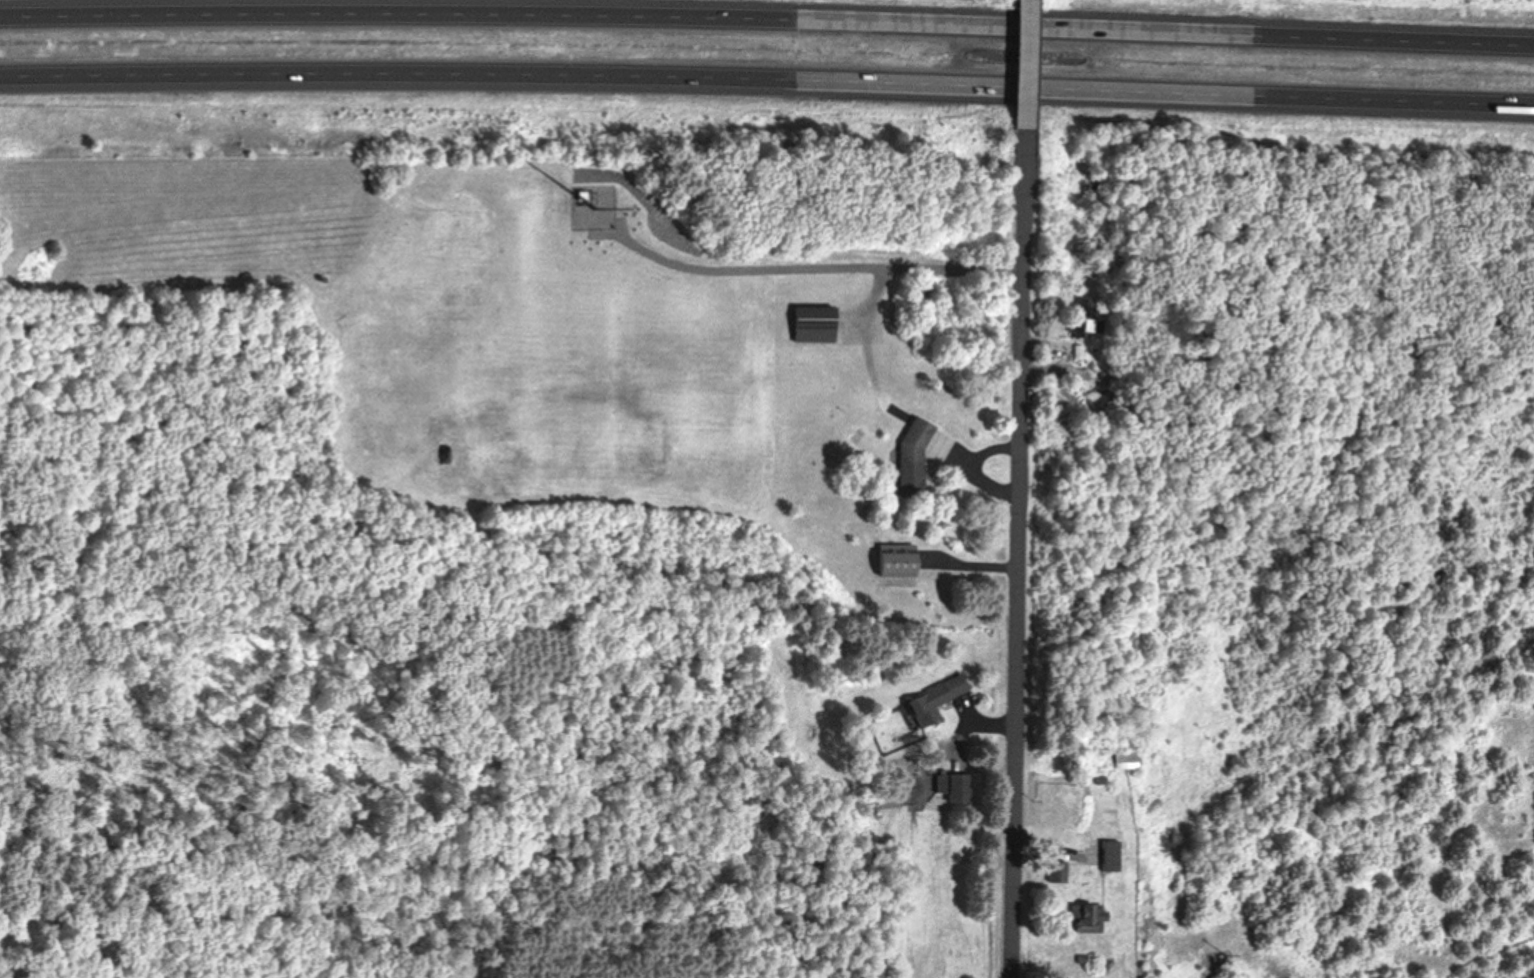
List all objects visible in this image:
road: (767, 18)
road: (1026, 71)
road: (767, 82)
building: (810, 324)
building: (1076, 352)
building: (908, 456)
building: (892, 559)
road: (1016, 559)
building: (931, 700)
building: (954, 790)
building: (1107, 856)
building: (1054, 871)
building: (1086, 918)

